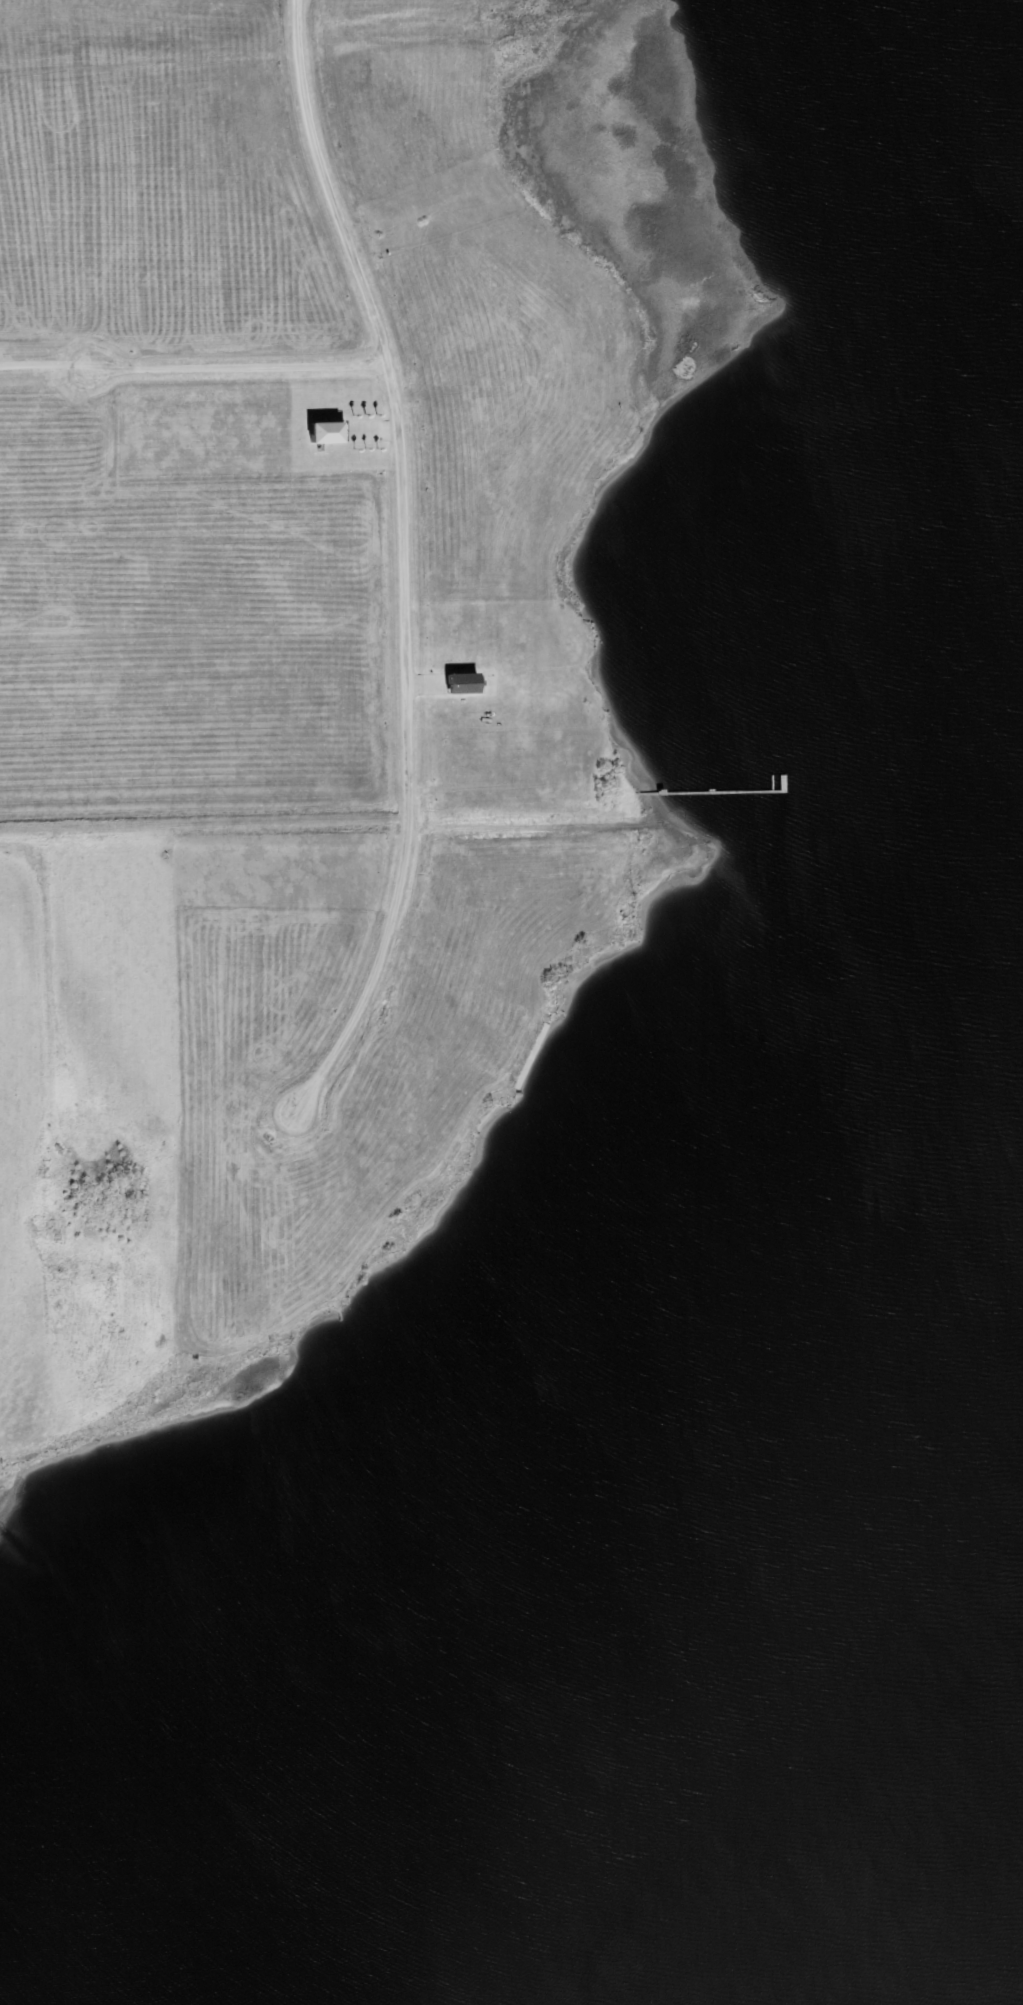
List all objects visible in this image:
building: (455, 684)

